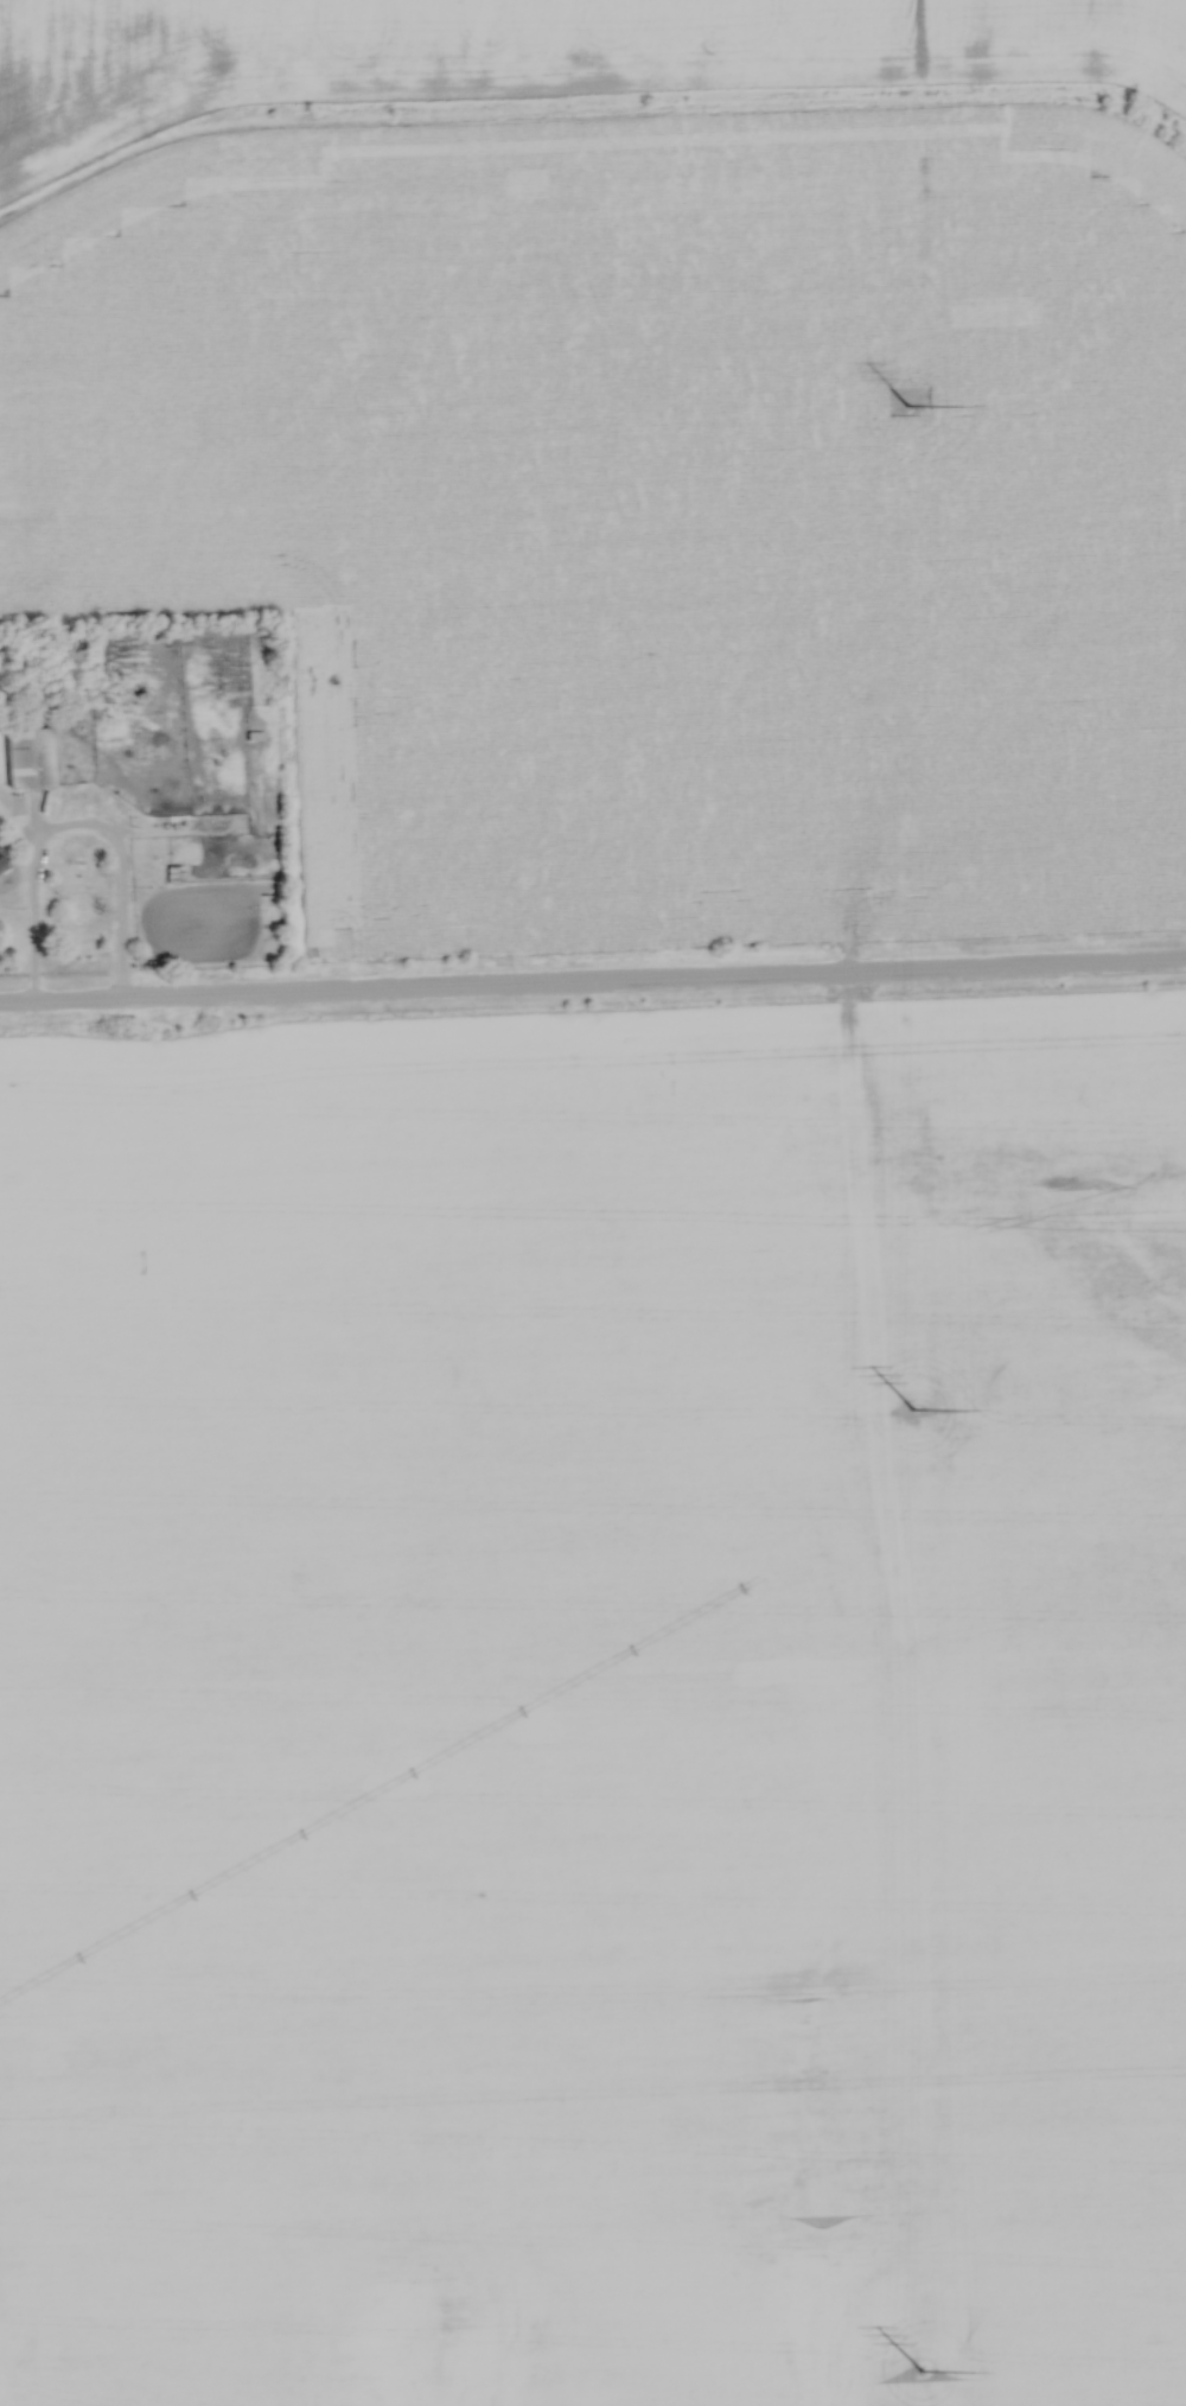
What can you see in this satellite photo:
power tower: (906, 406)
building: (177, 641)
building: (27, 757)
road: (75, 827)
building: (172, 876)
building: (5, 880)
road: (593, 985)
power tower: (912, 1409)
power tower: (916, 2370)

